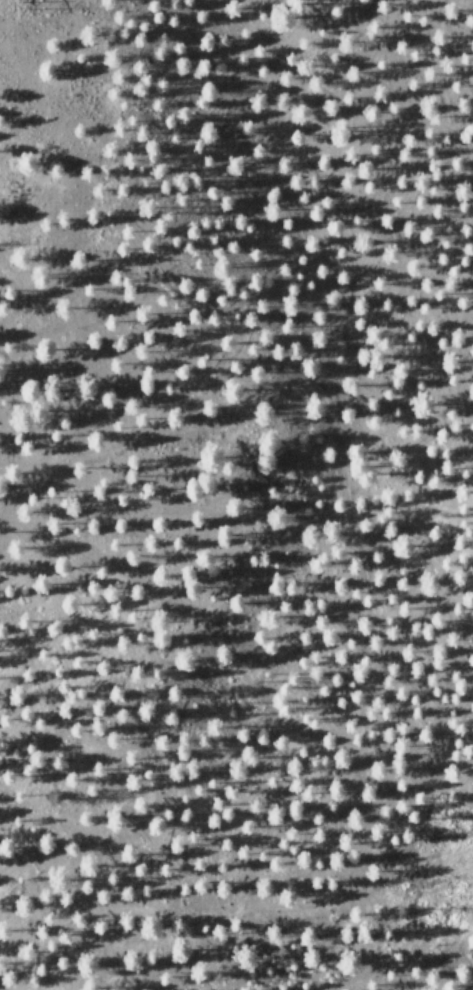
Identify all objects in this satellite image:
power tower: (28, 11)

